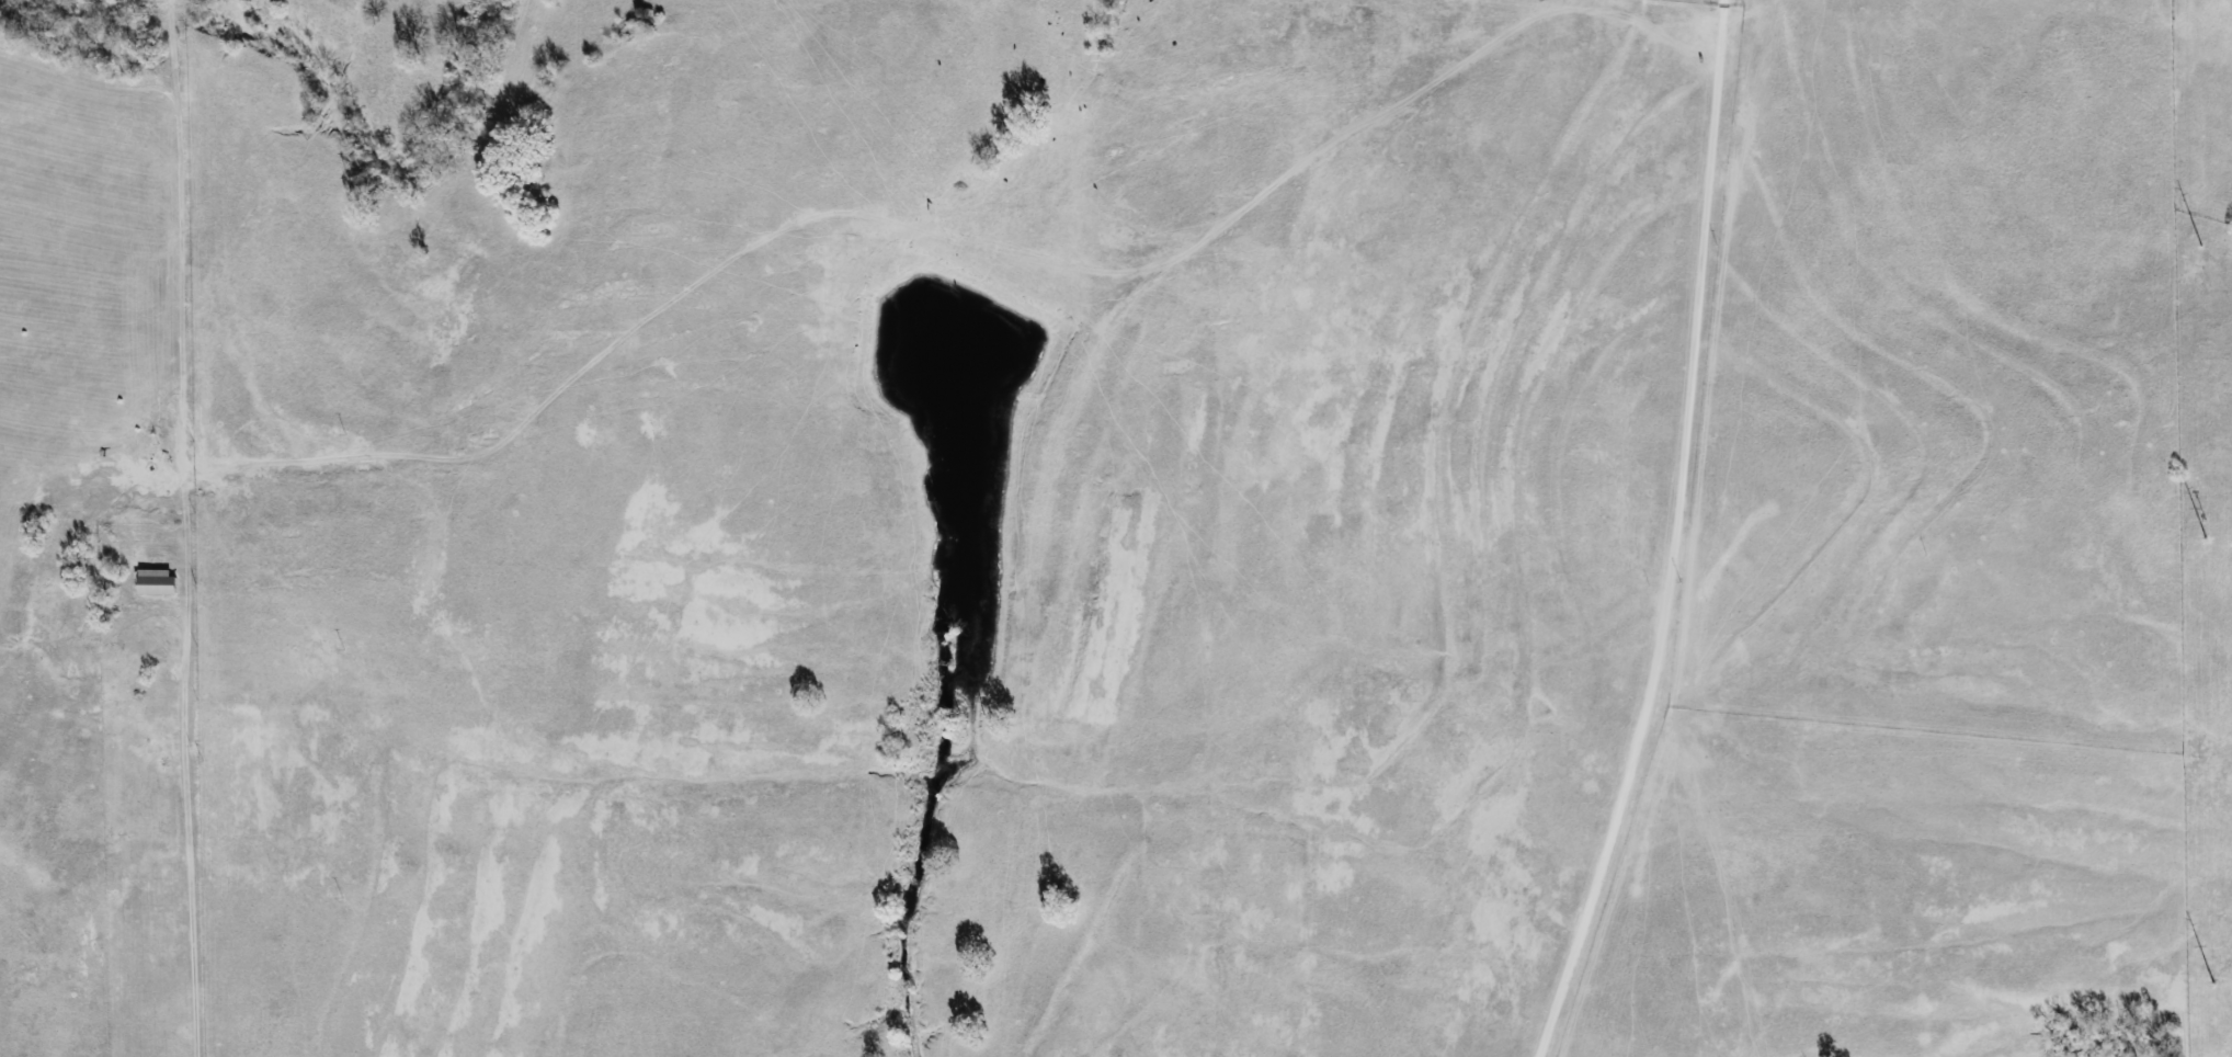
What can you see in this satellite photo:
power tower: (2201, 248)
road: (1677, 537)
power tower: (2206, 538)
building: (160, 581)
road: (189, 844)
power tower: (2212, 985)

